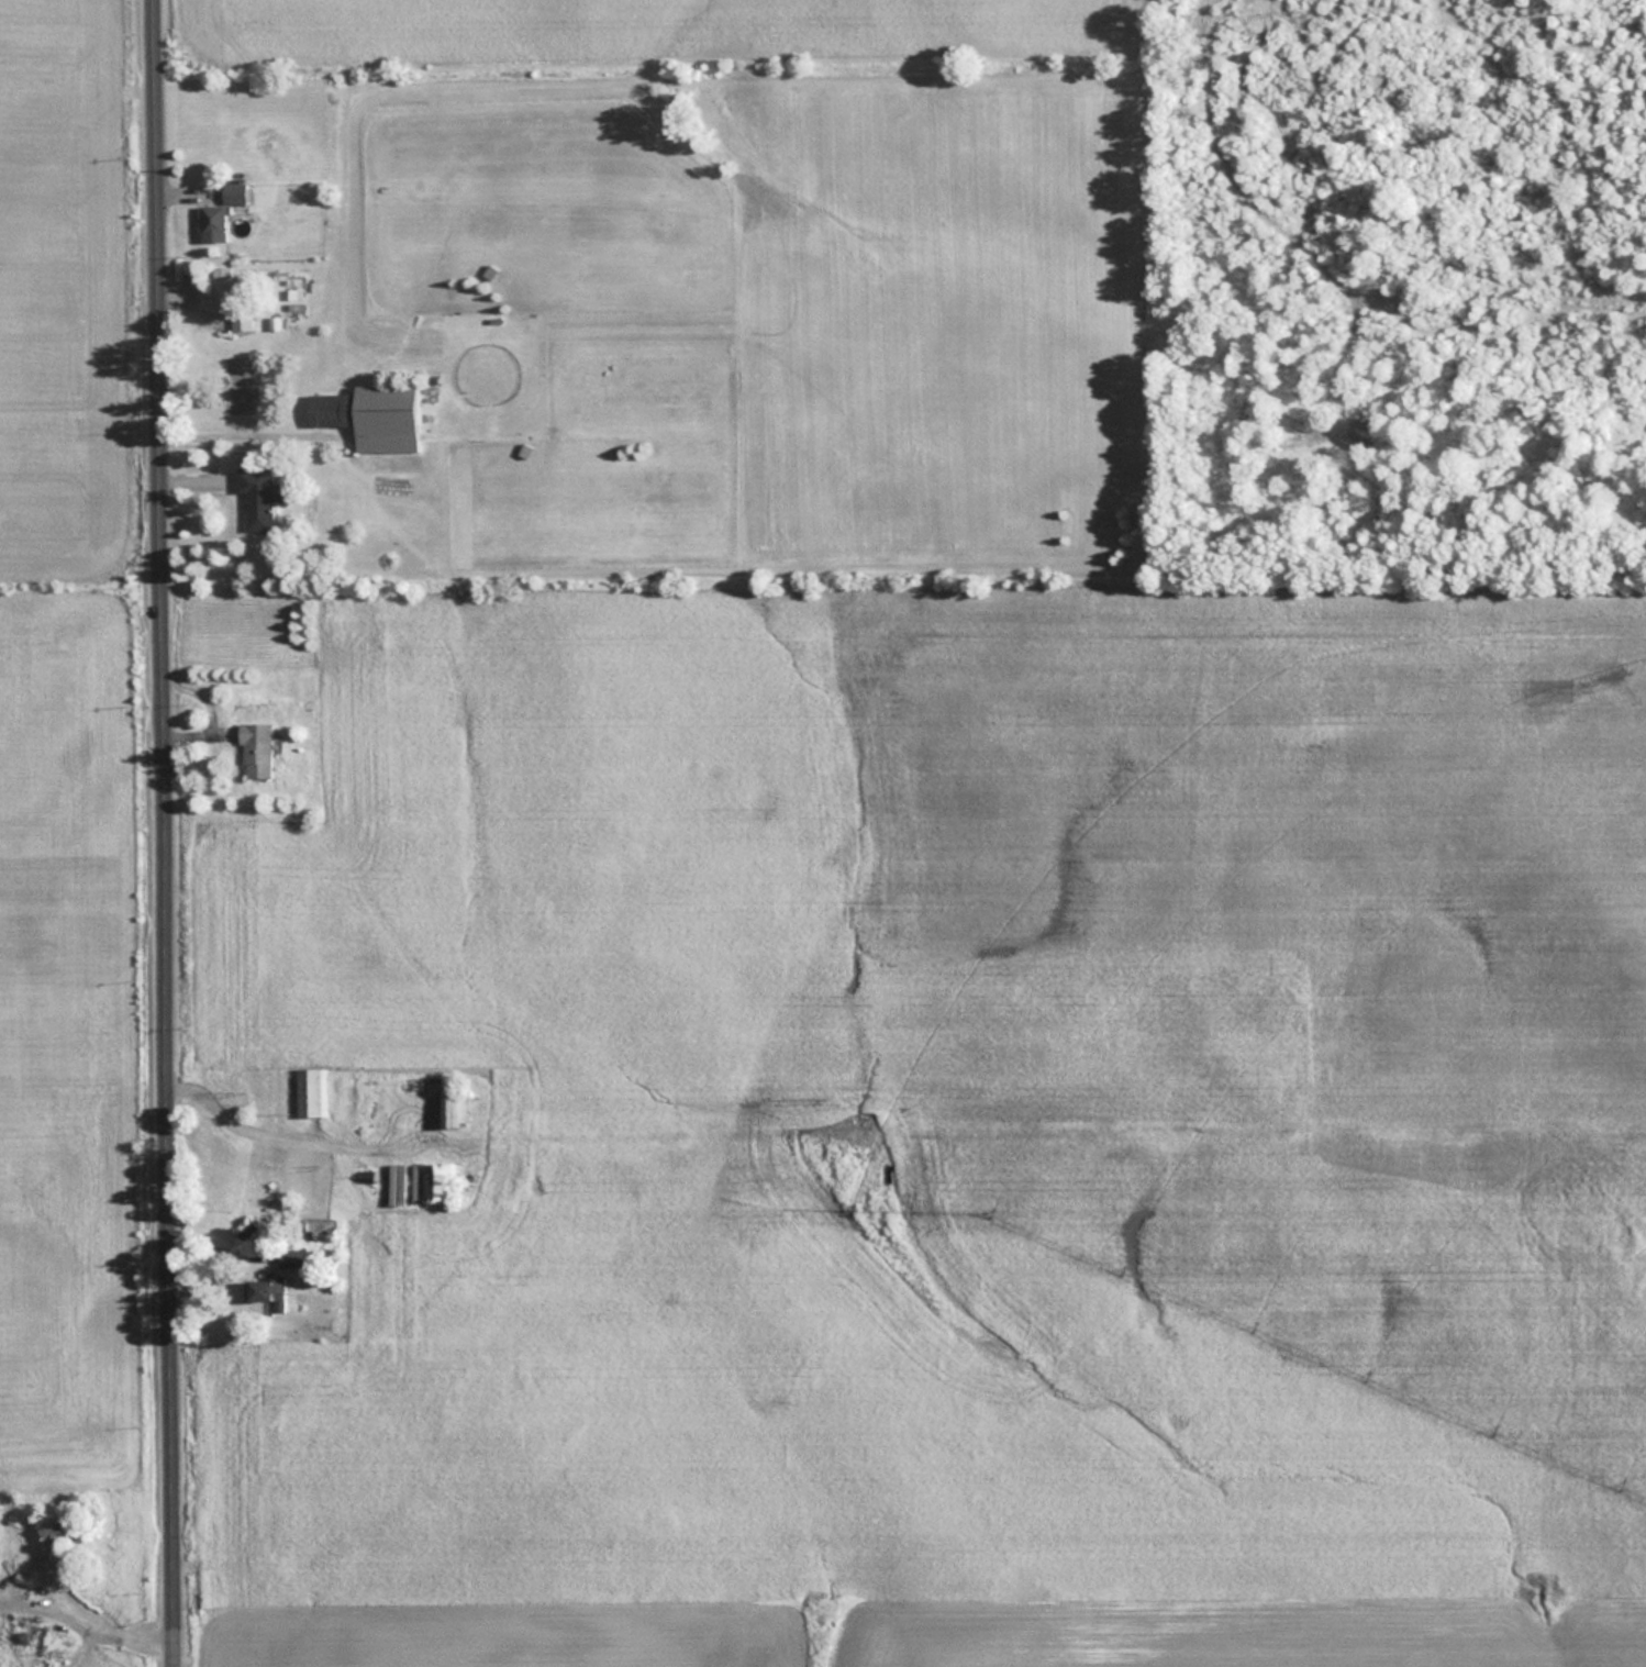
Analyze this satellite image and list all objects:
building: (233, 192)
building: (210, 218)
building: (221, 286)
building: (372, 415)
building: (258, 496)
building: (255, 751)
road: (168, 833)
building: (312, 1091)
building: (454, 1107)
building: (419, 1180)
building: (290, 1256)
building: (267, 1291)
building: (53, 1543)

